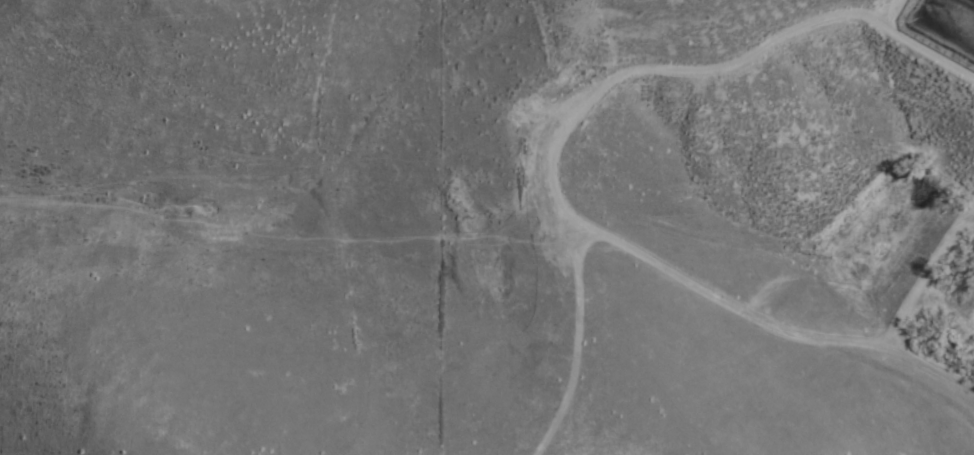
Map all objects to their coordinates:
road: (607, 233)
road: (578, 331)

